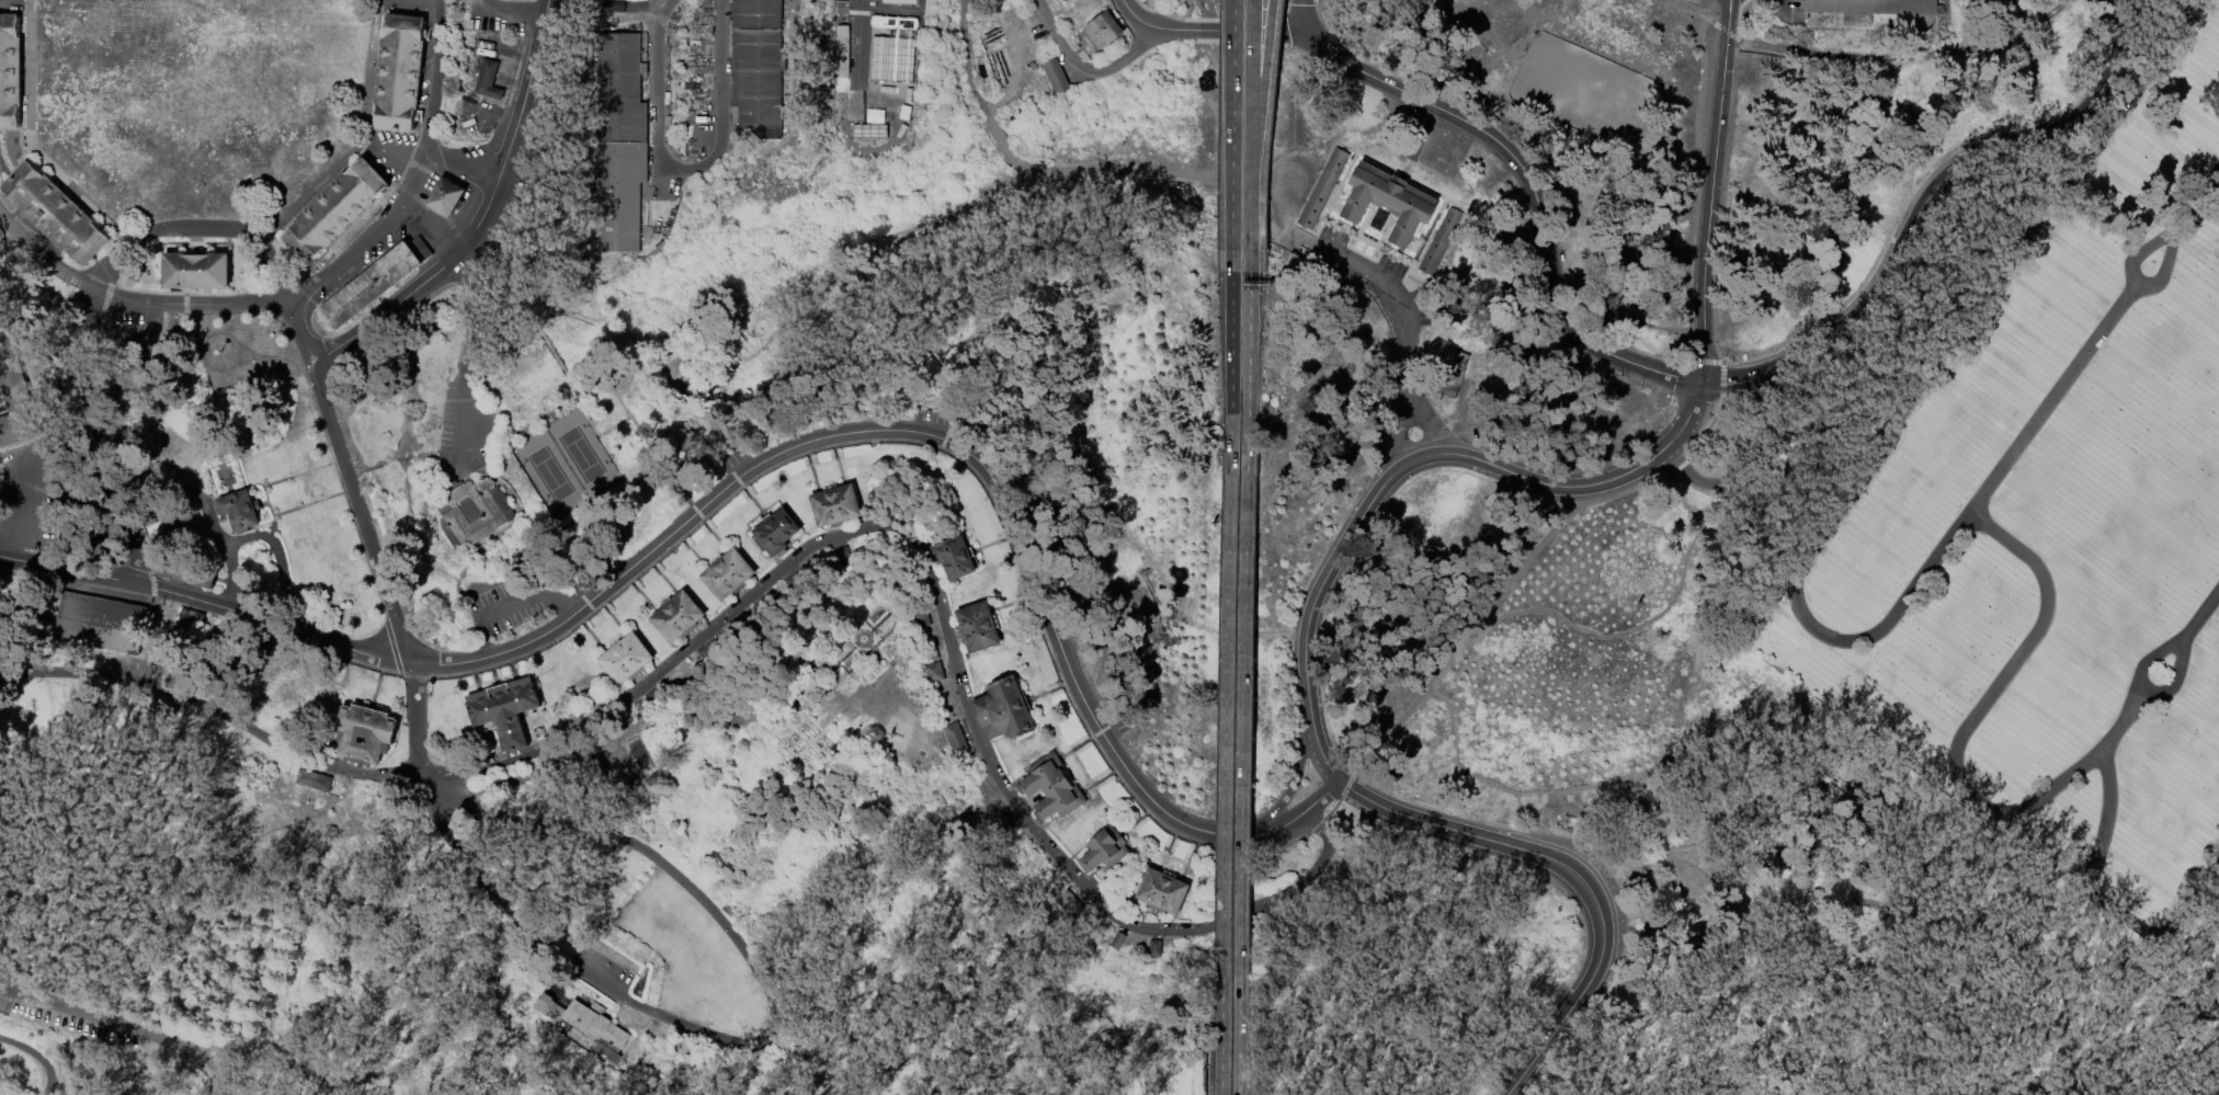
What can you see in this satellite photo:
road: (399, 0)
building: (1059, 0)
building: (1066, 0)
building: (1071, 0)
building: (622, 1)
road: (386, 2)
road: (476, 4)
road: (1204, 4)
road: (1784, 5)
building: (1866, 9)
road: (1688, 11)
road: (501, 12)
road: (862, 13)
road: (536, 16)
road: (1135, 16)
road: (1300, 16)
road: (1727, 16)
road: (1738, 18)
road: (1210, 20)
road: (1685, 20)
road: (1971, 24)
road: (1719, 28)
building: (1103, 32)
road: (1231, 32)
road: (1732, 37)
road: (2172, 52)
road: (1909, 57)
building: (839, 58)
building: (759, 69)
building: (875, 69)
road: (1085, 69)
building: (10, 73)
road: (967, 73)
building: (400, 75)
building: (1057, 78)
road: (862, 79)
building: (489, 80)
road: (1232, 125)
road: (1250, 125)
road: (1258, 125)
road: (5, 140)
building: (621, 144)
road: (371, 150)
road: (1010, 155)
road: (395, 158)
road: (434, 160)
road: (681, 162)
road: (16, 168)
road: (473, 170)
road: (502, 170)
parking lot: (523, 173)
road: (1061, 173)
road: (413, 175)
road: (1187, 175)
road: (1922, 182)
building: (1324, 189)
flagpole: (197, 191)
road: (1532, 193)
building: (447, 197)
road: (1924, 201)
road: (2197, 201)
building: (1388, 204)
road: (1707, 207)
building: (337, 213)
building: (56, 215)
road: (1279, 217)
road: (483, 218)
road: (1681, 221)
road: (198, 229)
road: (435, 230)
road: (455, 232)
road: (196, 241)
building: (1442, 242)
road: (192, 243)
road: (48, 261)
parking lot: (361, 262)
road: (1358, 269)
building: (197, 271)
road: (1685, 273)
building: (375, 283)
road: (2132, 288)
road: (197, 294)
road: (184, 298)
road: (200, 303)
road: (194, 318)
parking lot: (151, 320)
road: (301, 331)
road: (231, 338)
road: (275, 357)
road: (467, 357)
road: (556, 358)
road: (1943, 360)
road: (248, 362)
road: (1229, 362)
road: (1247, 363)
road: (1721, 367)
road: (1403, 368)
building: (1448, 378)
building: (15, 398)
building: (1480, 402)
road: (626, 412)
road: (550, 415)
road: (524, 426)
road: (1705, 430)
parking lot: (465, 431)
road: (1766, 431)
road: (524, 432)
road: (913, 432)
road: (1431, 433)
road: (94, 437)
road: (1399, 445)
road: (399, 448)
road: (448, 455)
road: (1444, 455)
road: (235, 460)
road: (400, 460)
parking lot: (735, 460)
park: (562, 464)
road: (1677, 466)
road: (315, 469)
road: (356, 471)
road: (264, 487)
road: (183, 489)
road: (1984, 489)
road: (325, 499)
building: (837, 506)
road: (589, 507)
road: (517, 509)
road: (692, 509)
building: (240, 511)
building: (471, 513)
road: (274, 516)
road: (363, 516)
park: (2050, 526)
road: (1549, 532)
building: (775, 533)
road: (490, 545)
park: (1109, 547)
building: (843, 557)
building: (956, 558)
road: (474, 559)
road: (284, 567)
road: (67, 570)
building: (189, 571)
building: (729, 575)
road: (236, 580)
building: (798, 582)
road: (582, 597)
road: (938, 602)
road: (510, 605)
road: (562, 605)
road: (479, 606)
parking lot: (507, 606)
building: (764, 608)
road: (2203, 612)
building: (95, 616)
building: (189, 617)
building: (679, 618)
building: (922, 619)
road: (272, 623)
building: (979, 628)
road: (2186, 634)
road: (1466, 637)
road: (149, 639)
road: (479, 643)
road: (850, 646)
building: (717, 650)
building: (935, 657)
building: (627, 660)
building: (935, 673)
building: (657, 699)
building: (505, 711)
building: (1004, 711)
road: (214, 716)
road: (2126, 718)
road: (1971, 720)
road: (417, 725)
road: (1225, 726)
road: (1241, 726)
building: (365, 734)
road: (1386, 737)
building: (956, 740)
road: (1317, 746)
road: (591, 751)
building: (641, 756)
road: (1294, 775)
building: (599, 778)
building: (314, 782)
road: (1677, 783)
building: (1052, 789)
road: (1321, 797)
road: (1332, 808)
road: (1309, 819)
building: (1001, 823)
road: (1283, 825)
road: (60, 851)
building: (1105, 851)
road: (649, 853)
road: (2095, 857)
road: (1652, 863)
road: (1625, 870)
road: (1575, 875)
road: (1595, 875)
building: (1163, 892)
road: (2194, 893)
building: (1070, 904)
road: (1684, 933)
building: (1117, 940)
road: (2187, 942)
road: (2154, 946)
building: (1156, 950)
road: (559, 957)
road: (2143, 963)
road: (2162, 963)
road: (2143, 983)
road: (2209, 989)
road: (2188, 1002)
road: (92, 1020)
building: (595, 1025)
road: (1220, 1036)
road: (1237, 1036)
building: (574, 1041)
road: (817, 1043)
road: (37, 1056)
road: (364, 1075)

